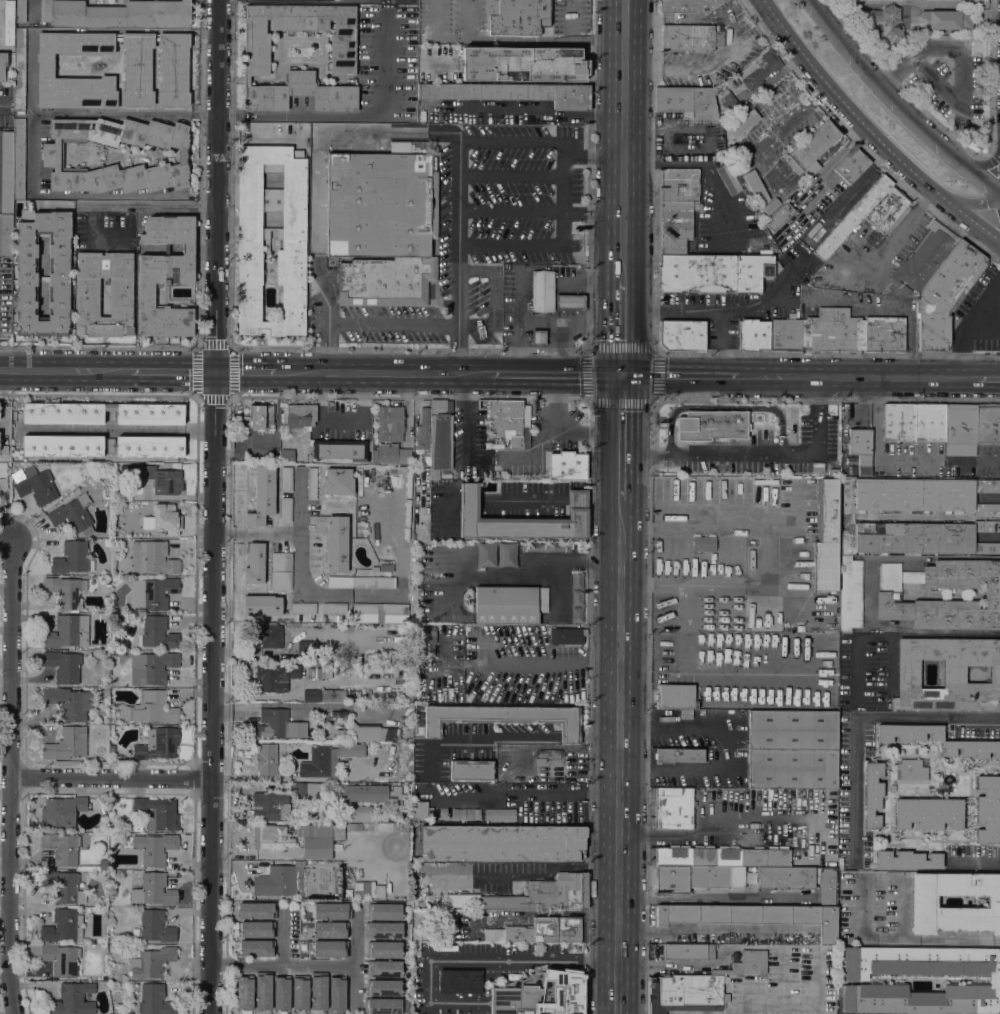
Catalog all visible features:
building: (687, 5)
building: (20, 11)
building: (116, 13)
building: (517, 16)
building: (944, 20)
building: (9, 22)
road: (431, 35)
building: (687, 37)
road: (498, 38)
road: (570, 41)
building: (256, 52)
park: (934, 56)
building: (2, 64)
building: (523, 64)
road: (962, 67)
building: (19, 69)
building: (175, 69)
building: (758, 69)
road: (892, 77)
road: (886, 81)
building: (512, 94)
road: (901, 100)
building: (729, 103)
road: (29, 108)
building: (692, 109)
road: (123, 113)
road: (352, 116)
building: (742, 123)
road: (871, 130)
road: (612, 140)
building: (812, 149)
building: (52, 156)
building: (18, 158)
road: (459, 161)
road: (983, 164)
building: (851, 165)
building: (6, 172)
road: (231, 173)
building: (749, 173)
road: (512, 174)
building: (728, 179)
road: (317, 180)
building: (678, 185)
road: (635, 187)
building: (825, 199)
building: (381, 202)
road: (154, 204)
road: (972, 204)
road: (91, 206)
building: (771, 206)
building: (888, 210)
road: (512, 211)
road: (573, 212)
building: (779, 217)
building: (852, 217)
road: (90, 221)
building: (674, 226)
road: (897, 235)
building: (6, 236)
building: (290, 243)
road: (528, 245)
building: (26, 257)
building: (922, 261)
building: (714, 273)
building: (165, 276)
building: (386, 281)
road: (570, 282)
building: (542, 291)
building: (945, 295)
road: (519, 296)
building: (87, 297)
building: (569, 302)
gas station: (569, 302)
road: (623, 307)
road: (729, 309)
road: (865, 310)
road: (368, 322)
road: (538, 322)
road: (972, 324)
road: (610, 327)
building: (850, 332)
building: (753, 334)
building: (784, 334)
building: (682, 335)
building: (538, 337)
gas station: (538, 337)
traffic signals: (610, 343)
road: (721, 343)
road: (214, 346)
road: (99, 347)
road: (408, 349)
road: (654, 349)
road: (65, 370)
road: (172, 371)
road: (197, 371)
traffic signals: (214, 371)
road: (232, 372)
road: (244, 372)
road: (383, 372)
road: (550, 374)
traffic signals: (610, 375)
road: (622, 375)
traffic signals: (634, 375)
road: (687, 375)
road: (859, 377)
road: (989, 379)
road: (98, 396)
road: (214, 398)
road: (724, 405)
traffic signals: (634, 408)
building: (102, 413)
building: (300, 415)
building: (260, 417)
road: (465, 418)
building: (503, 420)
building: (913, 422)
building: (390, 423)
building: (960, 423)
building: (525, 424)
building: (711, 425)
building: (988, 426)
road: (568, 429)
building: (422, 434)
building: (439, 438)
road: (633, 438)
building: (405, 444)
building: (66, 445)
building: (149, 446)
road: (876, 448)
building: (339, 449)
parking lot: (774, 449)
building: (861, 449)
building: (965, 449)
road: (536, 451)
road: (651, 453)
building: (393, 454)
road: (782, 454)
building: (286, 456)
road: (973, 461)
building: (567, 466)
building: (4, 470)
building: (834, 472)
building: (845, 479)
building: (163, 480)
building: (337, 481)
building: (311, 482)
building: (408, 484)
building: (36, 486)
building: (286, 494)
building: (1, 495)
building: (925, 495)
building: (262, 496)
road: (598, 497)
road: (621, 497)
road: (577, 498)
road: (536, 499)
road: (298, 505)
road: (214, 506)
building: (407, 513)
building: (73, 515)
road: (797, 518)
building: (166, 519)
building: (522, 519)
building: (406, 534)
road: (298, 535)
building: (826, 537)
building: (924, 537)
building: (335, 542)
building: (703, 543)
building: (406, 545)
building: (533, 546)
building: (558, 546)
road: (771, 550)
building: (486, 554)
building: (506, 554)
building: (152, 557)
building: (72, 558)
building: (254, 564)
building: (281, 571)
building: (577, 581)
building: (361, 582)
building: (66, 592)
building: (153, 593)
building: (850, 594)
building: (888, 595)
building: (576, 598)
building: (262, 605)
building: (509, 605)
building: (303, 608)
building: (334, 608)
building: (364, 609)
building: (396, 609)
building: (576, 614)
building: (800, 628)
building: (68, 631)
building: (157, 633)
road: (959, 633)
building: (425, 635)
building: (272, 636)
building: (566, 636)
building: (427, 650)
building: (303, 651)
road: (708, 654)
road: (530, 664)
road: (619, 664)
building: (63, 665)
building: (154, 665)
building: (314, 670)
building: (948, 674)
building: (276, 676)
road: (607, 694)
building: (324, 696)
building: (675, 696)
building: (69, 702)
building: (151, 708)
building: (505, 718)
road: (619, 718)
road: (864, 718)
building: (272, 723)
building: (909, 732)
building: (373, 733)
building: (339, 734)
road: (499, 741)
building: (66, 744)
building: (157, 744)
road: (726, 746)
building: (972, 748)
building: (111, 749)
building: (792, 749)
building: (350, 750)
building: (679, 755)
building: (269, 757)
road: (632, 757)
building: (548, 758)
building: (319, 763)
road: (619, 767)
building: (913, 769)
building: (471, 770)
road: (10, 773)
building: (502, 778)
road: (113, 781)
building: (308, 791)
road: (520, 792)
building: (364, 793)
building: (873, 793)
building: (399, 802)
building: (272, 805)
building: (673, 808)
building: (988, 809)
building: (419, 810)
building: (62, 812)
building: (158, 813)
building: (929, 813)
building: (466, 815)
building: (499, 815)
building: (358, 816)
building: (325, 818)
road: (725, 818)
building: (379, 827)
building: (338, 832)
building: (271, 837)
building: (316, 840)
building: (502, 842)
building: (61, 848)
building: (155, 848)
building: (907, 860)
building: (103, 864)
building: (726, 868)
building: (279, 881)
building: (63, 886)
building: (368, 889)
building: (153, 890)
building: (398, 892)
building: (348, 893)
building: (533, 895)
road: (718, 898)
building: (923, 901)
building: (306, 905)
building: (256, 911)
building: (332, 911)
building: (383, 911)
building: (761, 912)
building: (63, 926)
building: (154, 927)
building: (257, 929)
building: (330, 930)
building: (385, 930)
building: (539, 931)
road: (719, 933)
road: (283, 935)
building: (407, 938)
road: (906, 939)
building: (257, 948)
building: (330, 949)
building: (383, 949)
building: (688, 951)
building: (735, 955)
road: (357, 957)
building: (60, 960)
road: (495, 960)
building: (151, 962)
road: (712, 964)
building: (747, 964)
road: (284, 967)
building: (383, 969)
building: (855, 979)
building: (383, 987)
building: (263, 992)
building: (244, 993)
building: (281, 993)
building: (318, 993)
building: (336, 993)
building: (687, 993)
building: (299, 994)
building: (540, 994)
building: (72, 999)
building: (155, 1000)
road: (755, 1004)
road: (793, 1005)
building: (382, 1006)
road: (743, 1010)

